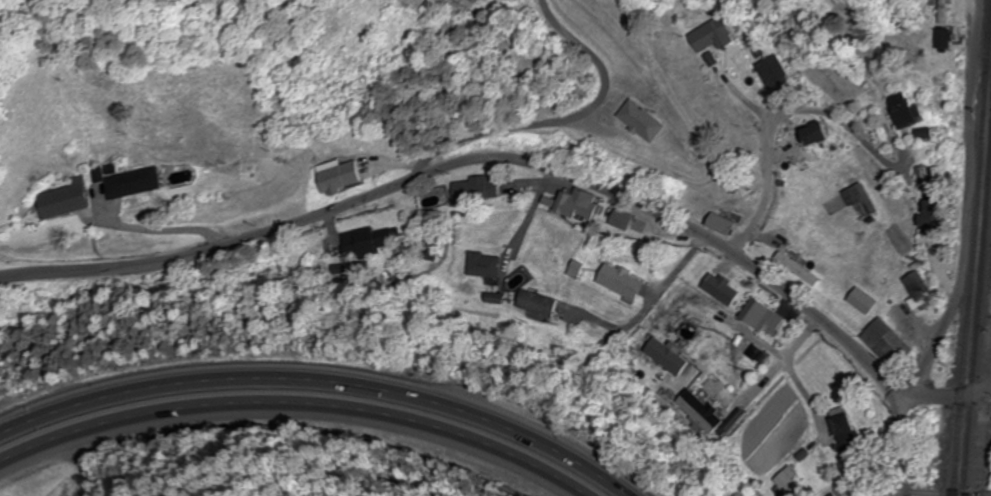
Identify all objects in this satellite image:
building: (442, 10)
building: (937, 12)
railway: (984, 29)
building: (704, 37)
building: (936, 40)
building: (766, 73)
building: (894, 111)
road: (769, 116)
road: (557, 118)
building: (628, 121)
building: (803, 134)
building: (245, 172)
building: (335, 176)
building: (918, 178)
building: (127, 182)
building: (466, 189)
building: (64, 200)
building: (853, 202)
road: (962, 204)
building: (569, 207)
building: (925, 217)
building: (614, 220)
building: (713, 224)
building: (364, 241)
road: (717, 247)
railway: (971, 248)
road: (208, 249)
building: (479, 265)
building: (792, 269)
railway: (978, 273)
building: (615, 282)
building: (716, 289)
building: (916, 289)
building: (857, 301)
building: (532, 304)
building: (757, 317)
building: (883, 343)
building: (660, 355)
road: (327, 377)
road: (794, 377)
road: (942, 398)
road: (294, 407)
building: (694, 412)
building: (840, 430)
road: (928, 495)

